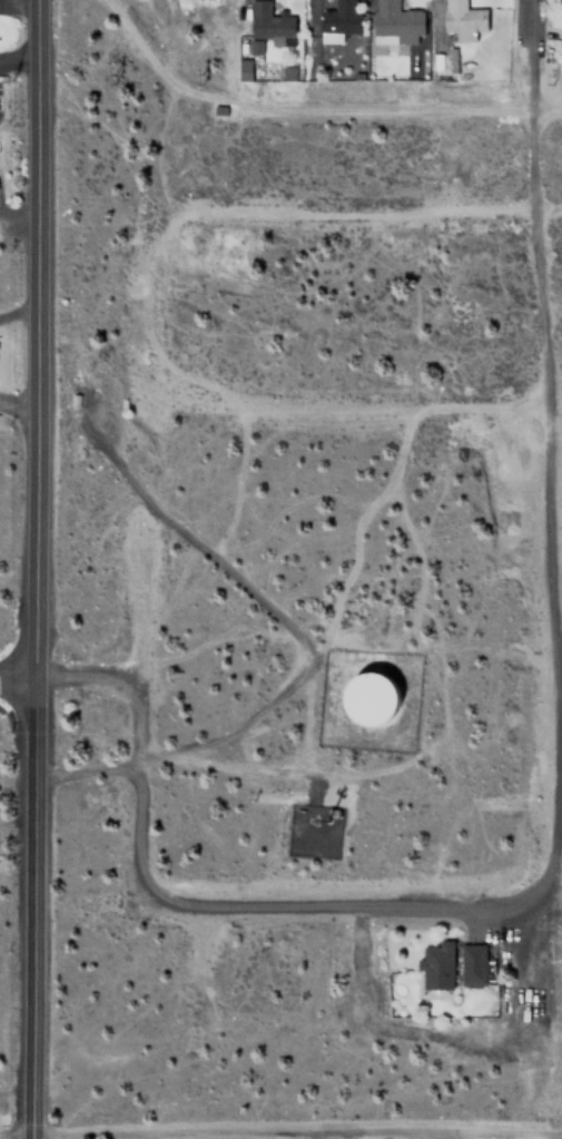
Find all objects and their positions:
building: (342, 17)
building: (463, 20)
building: (397, 21)
building: (269, 24)
road: (525, 53)
building: (247, 70)
road: (295, 110)
road: (31, 569)
road: (284, 622)
road: (13, 680)
building: (373, 698)
storage tank: (373, 698)
road: (244, 769)
road: (200, 902)
building: (472, 964)
building: (437, 965)
road: (294, 1130)

